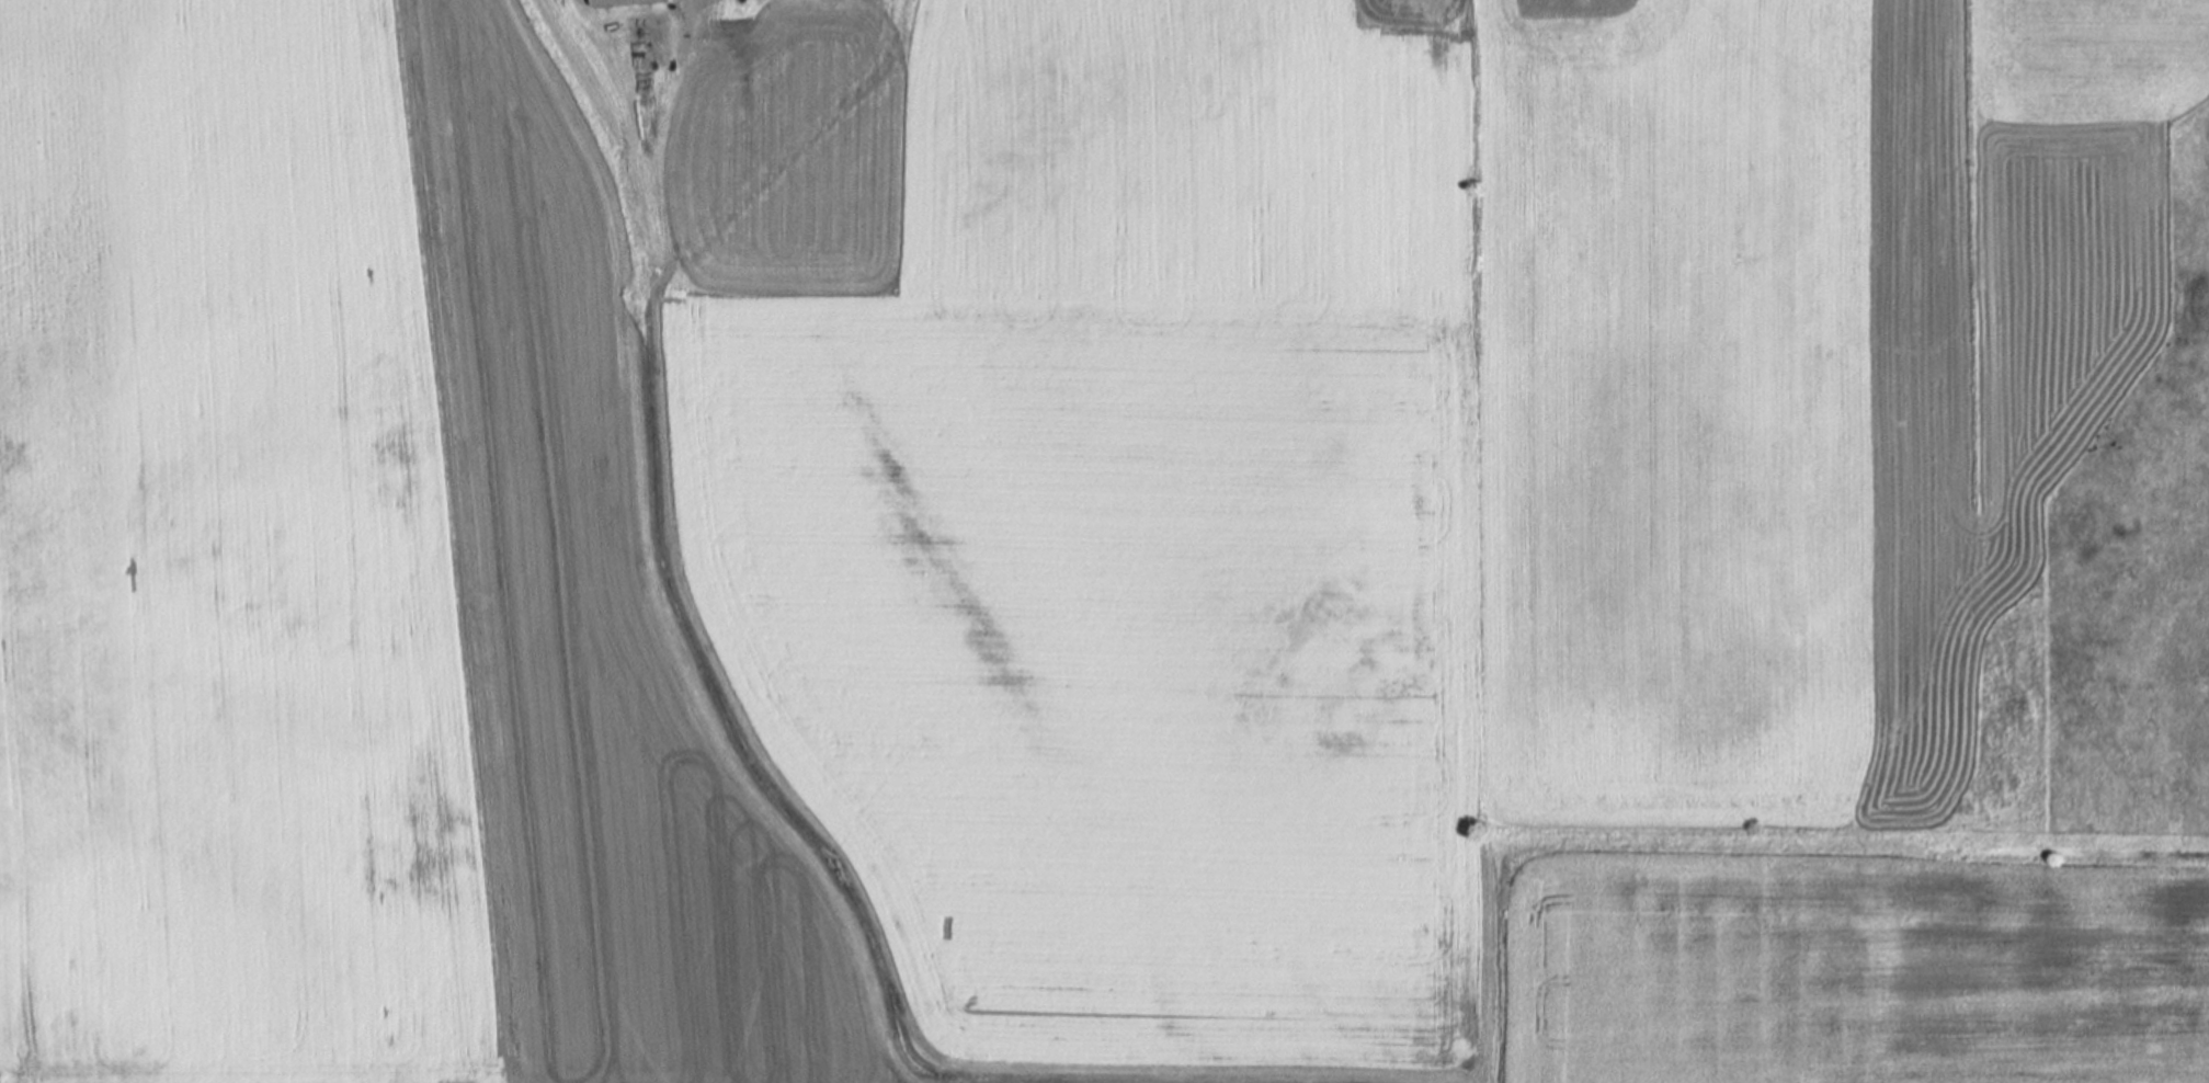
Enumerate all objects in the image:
building: (622, 1)

